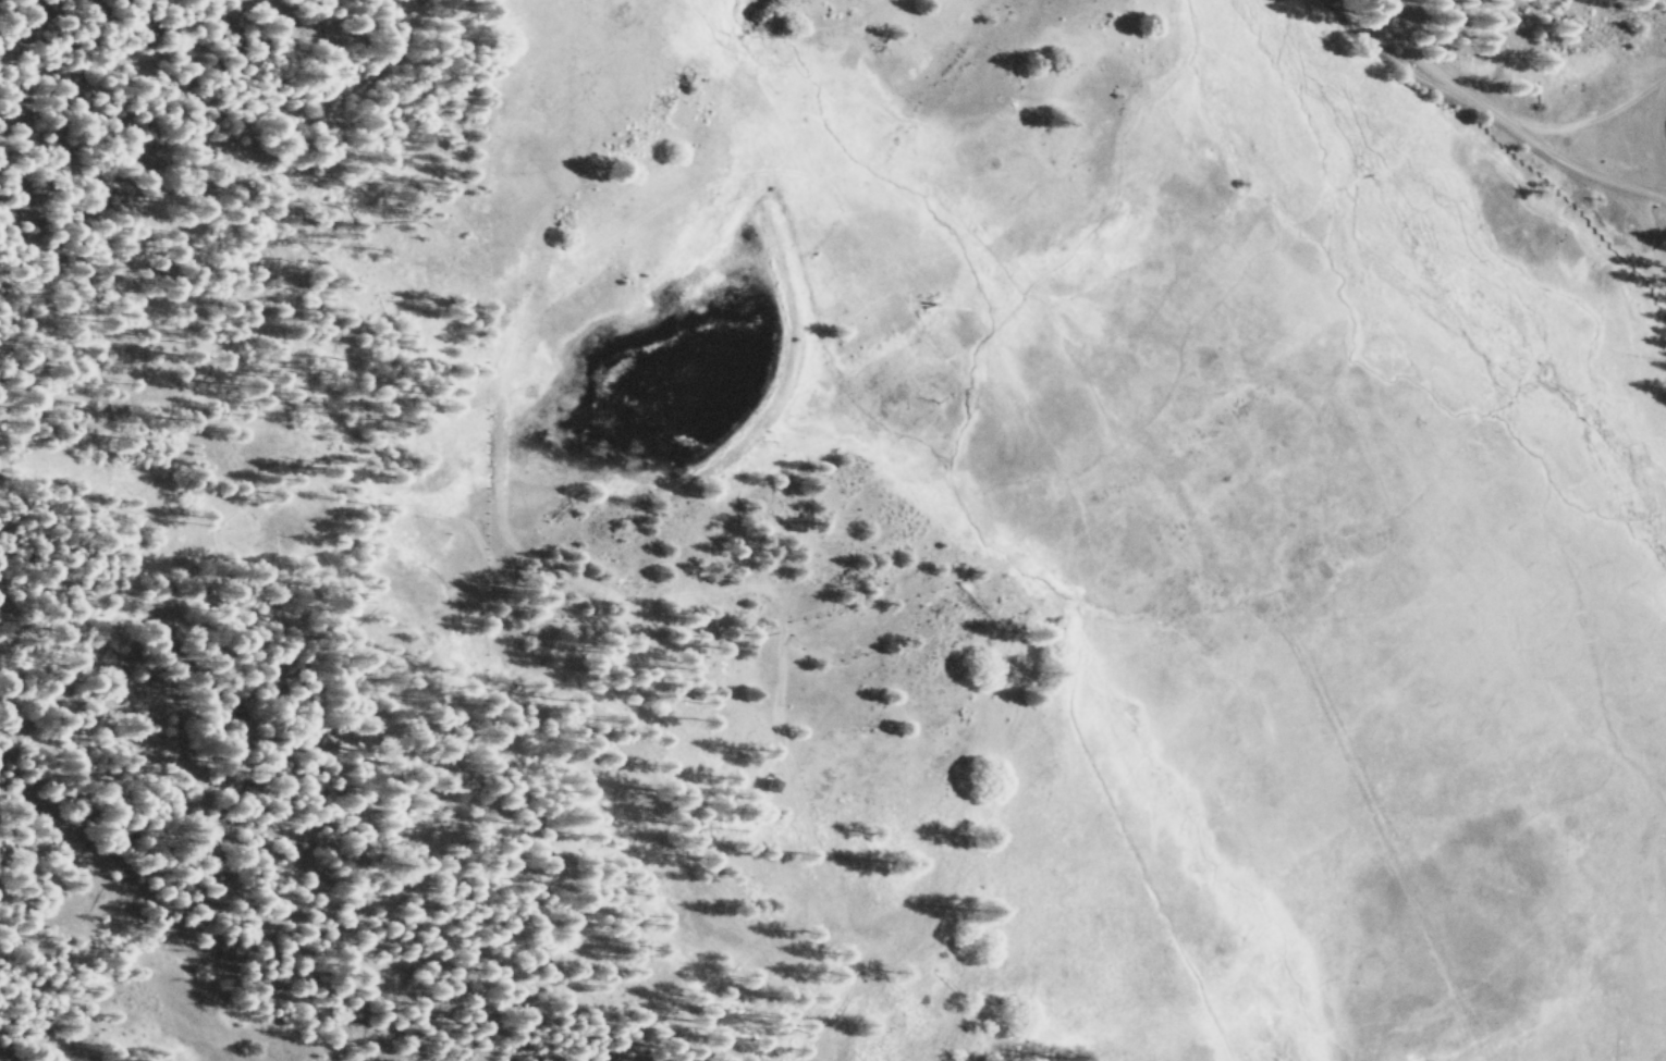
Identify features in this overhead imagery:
building: (767, 786)

